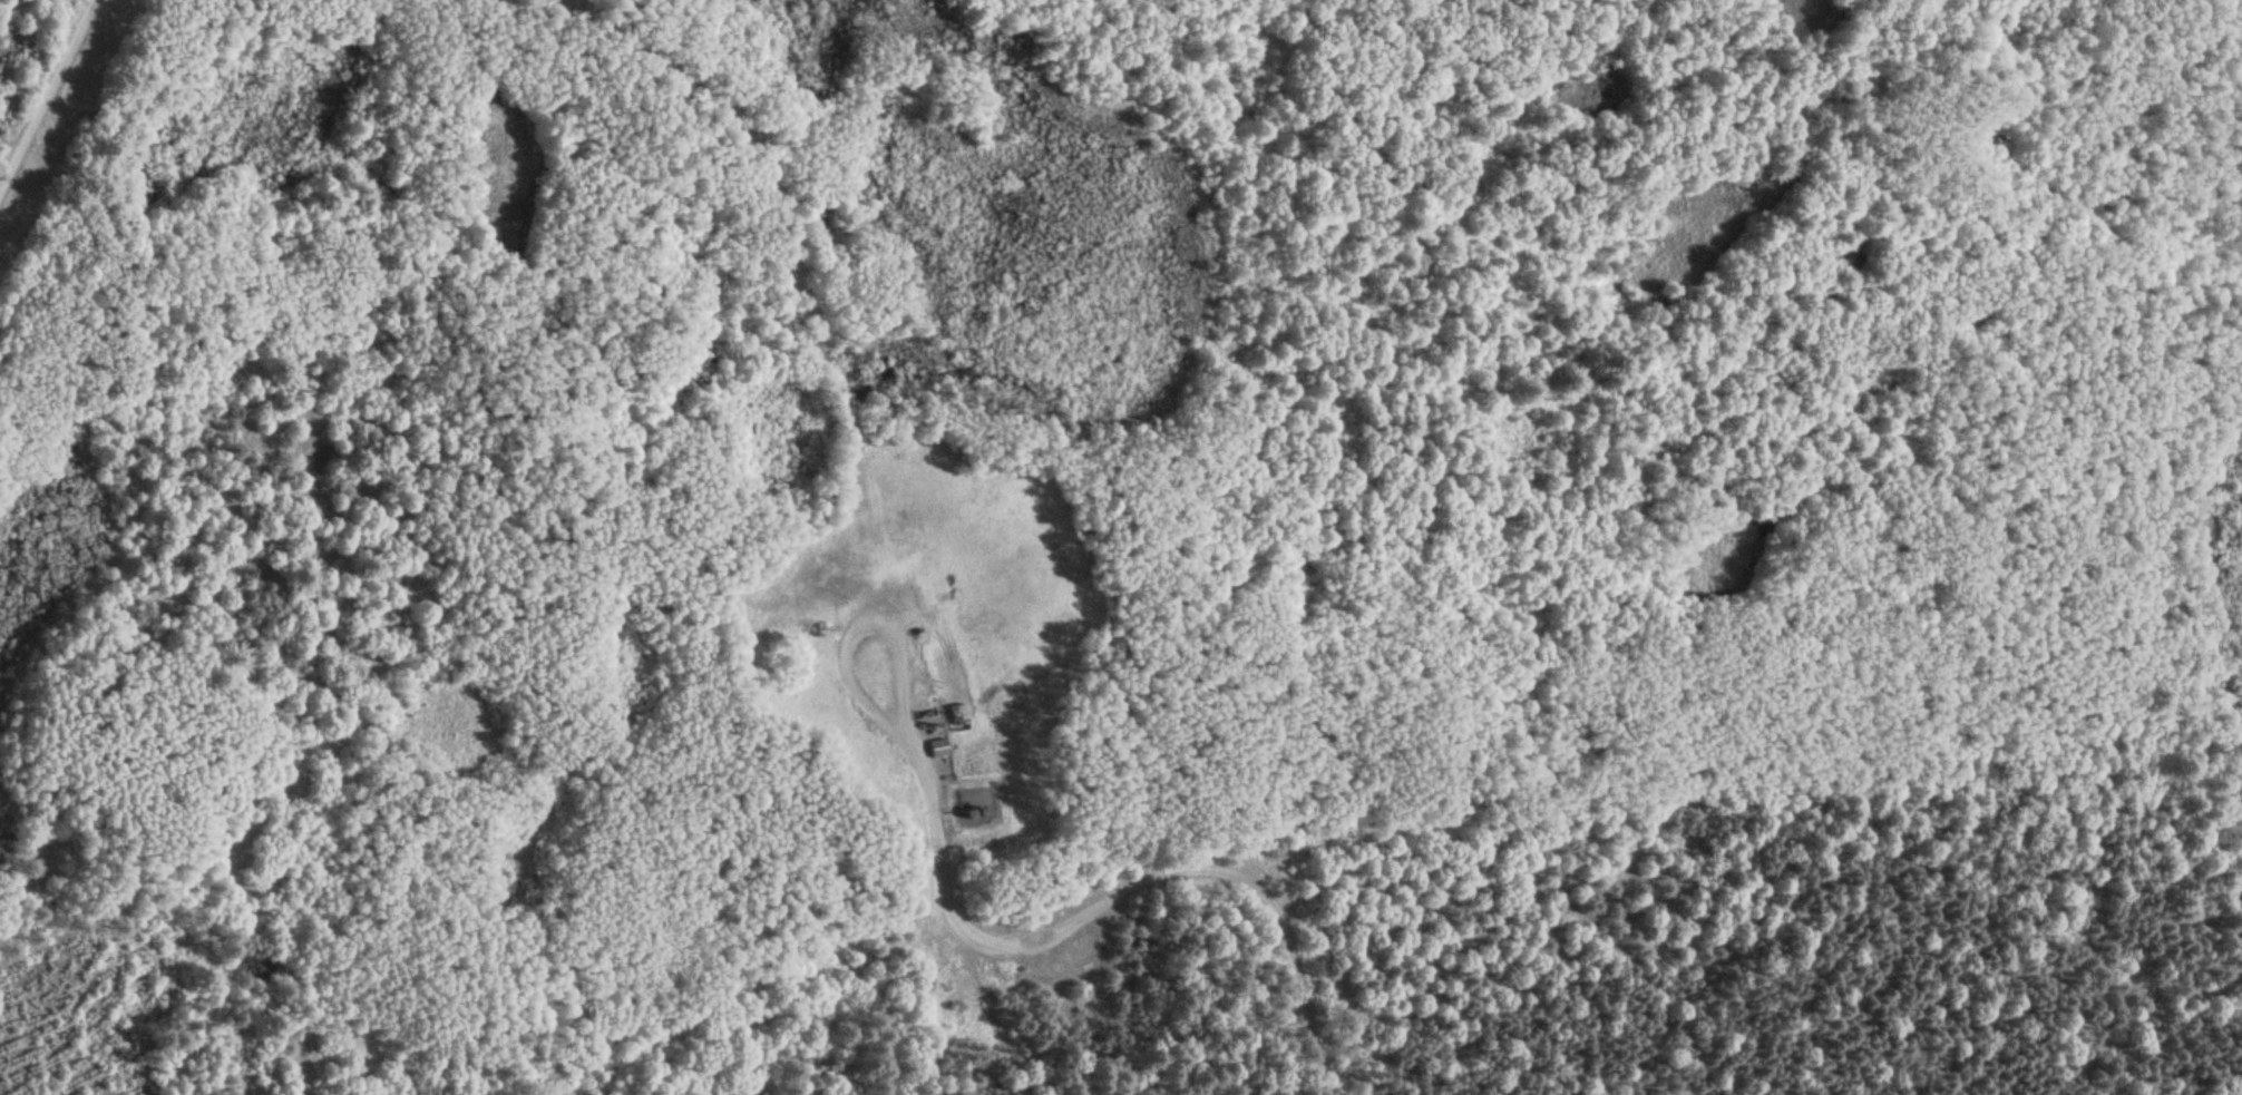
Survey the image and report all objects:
road: (46, 97)
road: (896, 681)
building: (935, 749)
road: (984, 1020)

